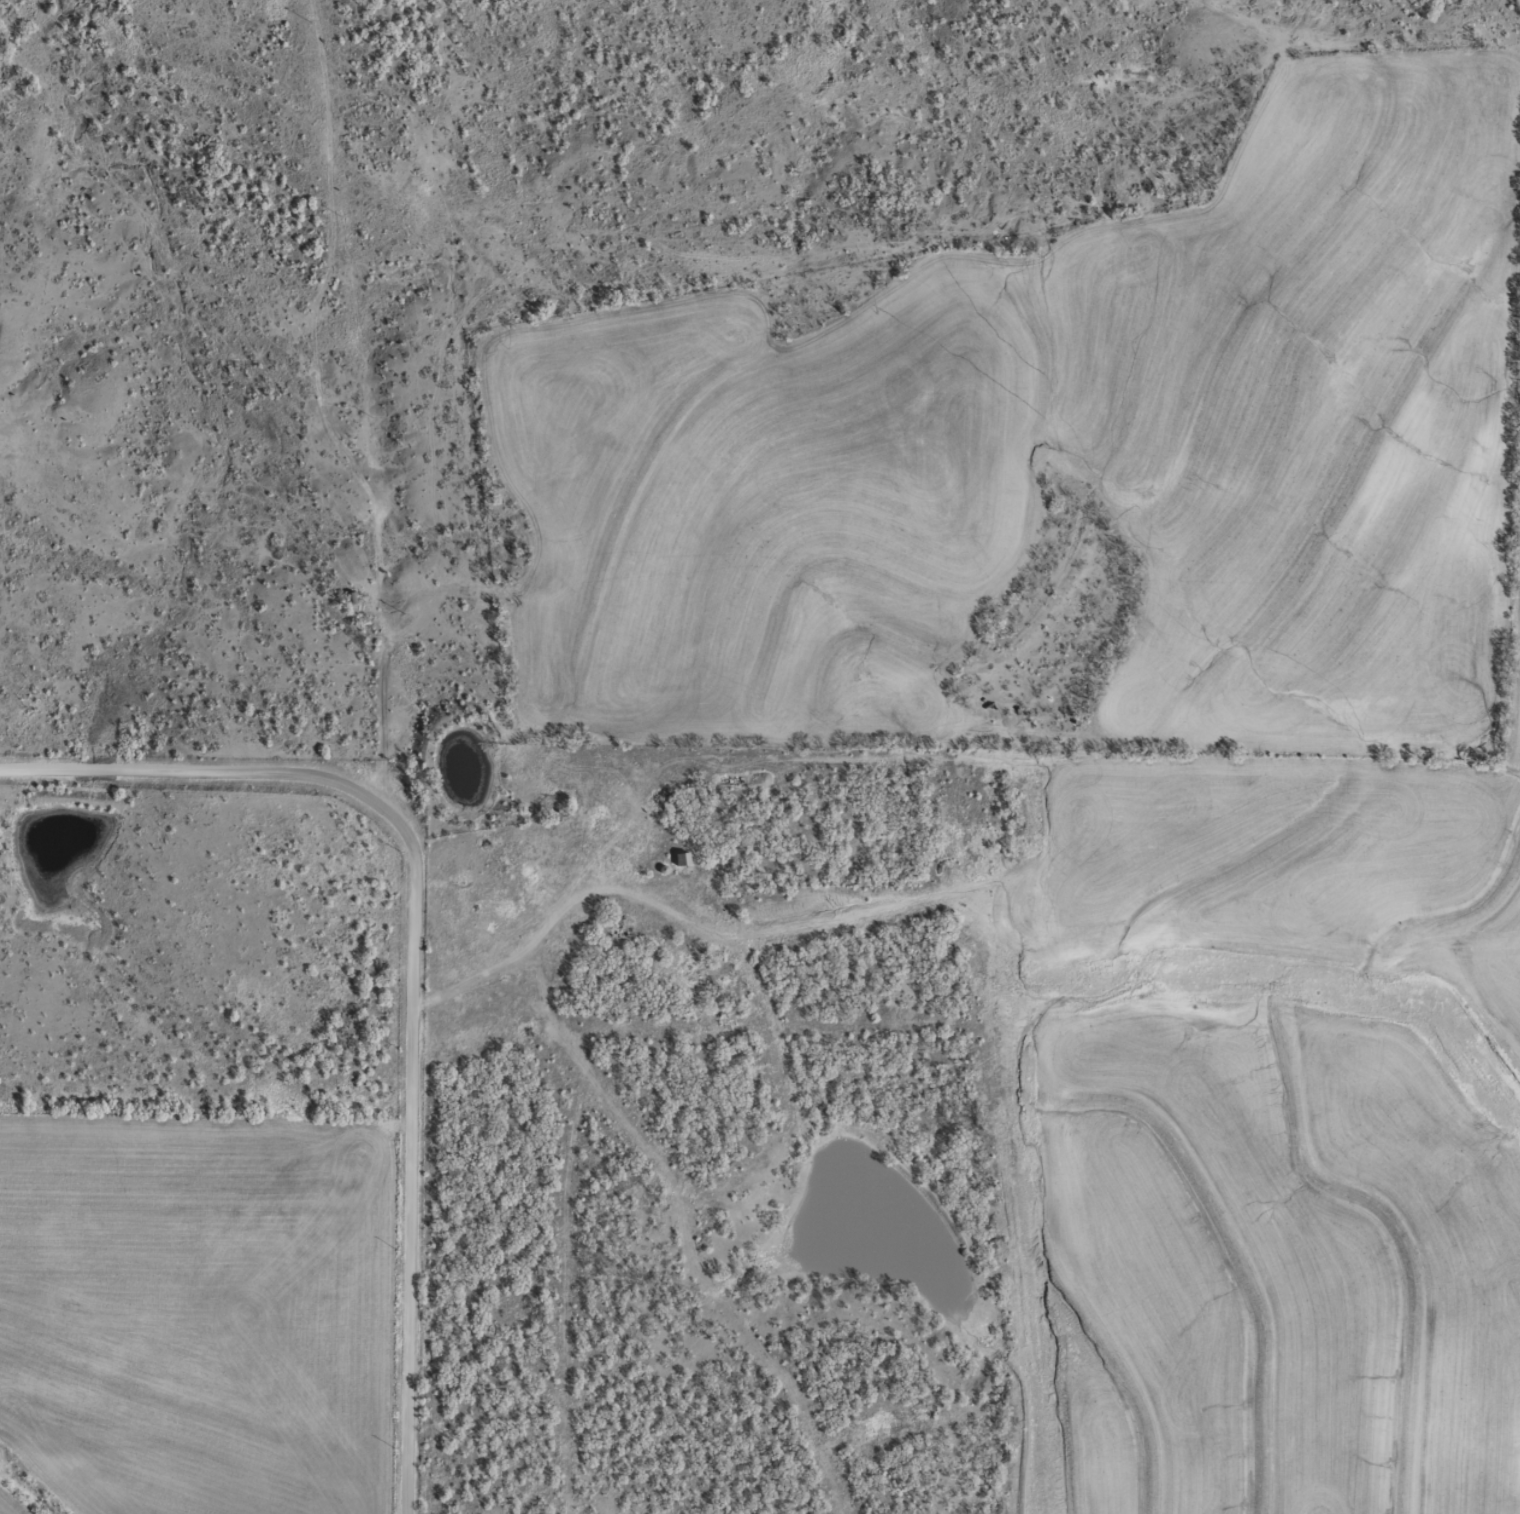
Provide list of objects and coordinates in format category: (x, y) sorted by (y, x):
building: (682, 860)
road: (418, 957)

